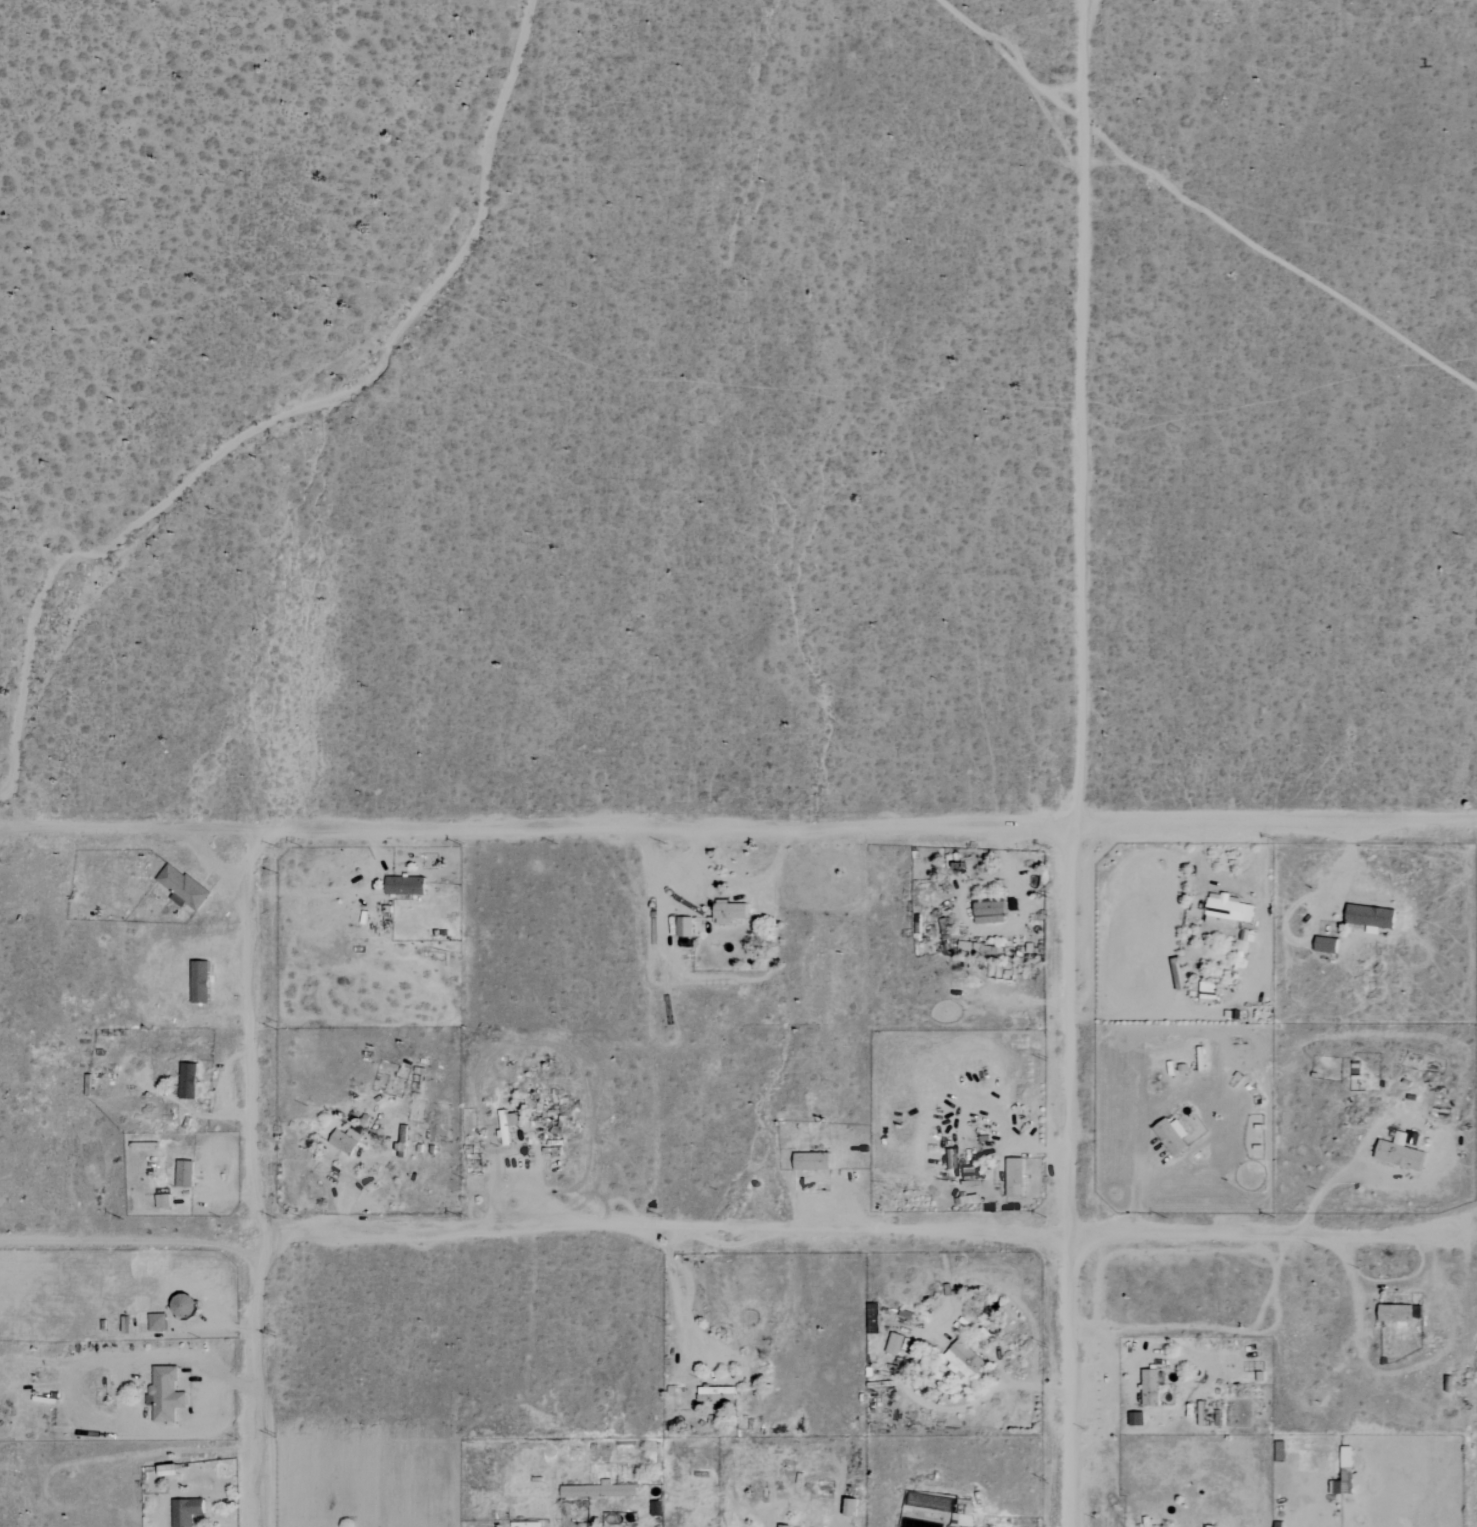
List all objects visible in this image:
road: (1073, 763)
road: (1275, 824)
road: (665, 830)
road: (128, 831)
building: (407, 885)
building: (185, 887)
building: (1225, 911)
building: (732, 912)
building: (993, 912)
building: (1367, 916)
building: (687, 927)
building: (1245, 940)
building: (971, 947)
building: (203, 982)
building: (1206, 992)
building: (191, 1081)
building: (508, 1127)
building: (1169, 1135)
building: (348, 1141)
building: (1396, 1153)
building: (956, 1158)
building: (815, 1161)
building: (187, 1174)
building: (1017, 1177)
road: (260, 1179)
road: (499, 1184)
road: (1326, 1185)
building: (165, 1201)
road: (345, 1207)
road: (730, 1236)
road: (676, 1298)
building: (1393, 1313)
building: (159, 1322)
building: (897, 1344)
building: (966, 1360)
building: (1148, 1388)
building: (170, 1393)
building: (719, 1394)
building: (602, 1490)
road: (217, 1502)
building: (853, 1507)
building: (188, 1511)
building: (788, 1526)

